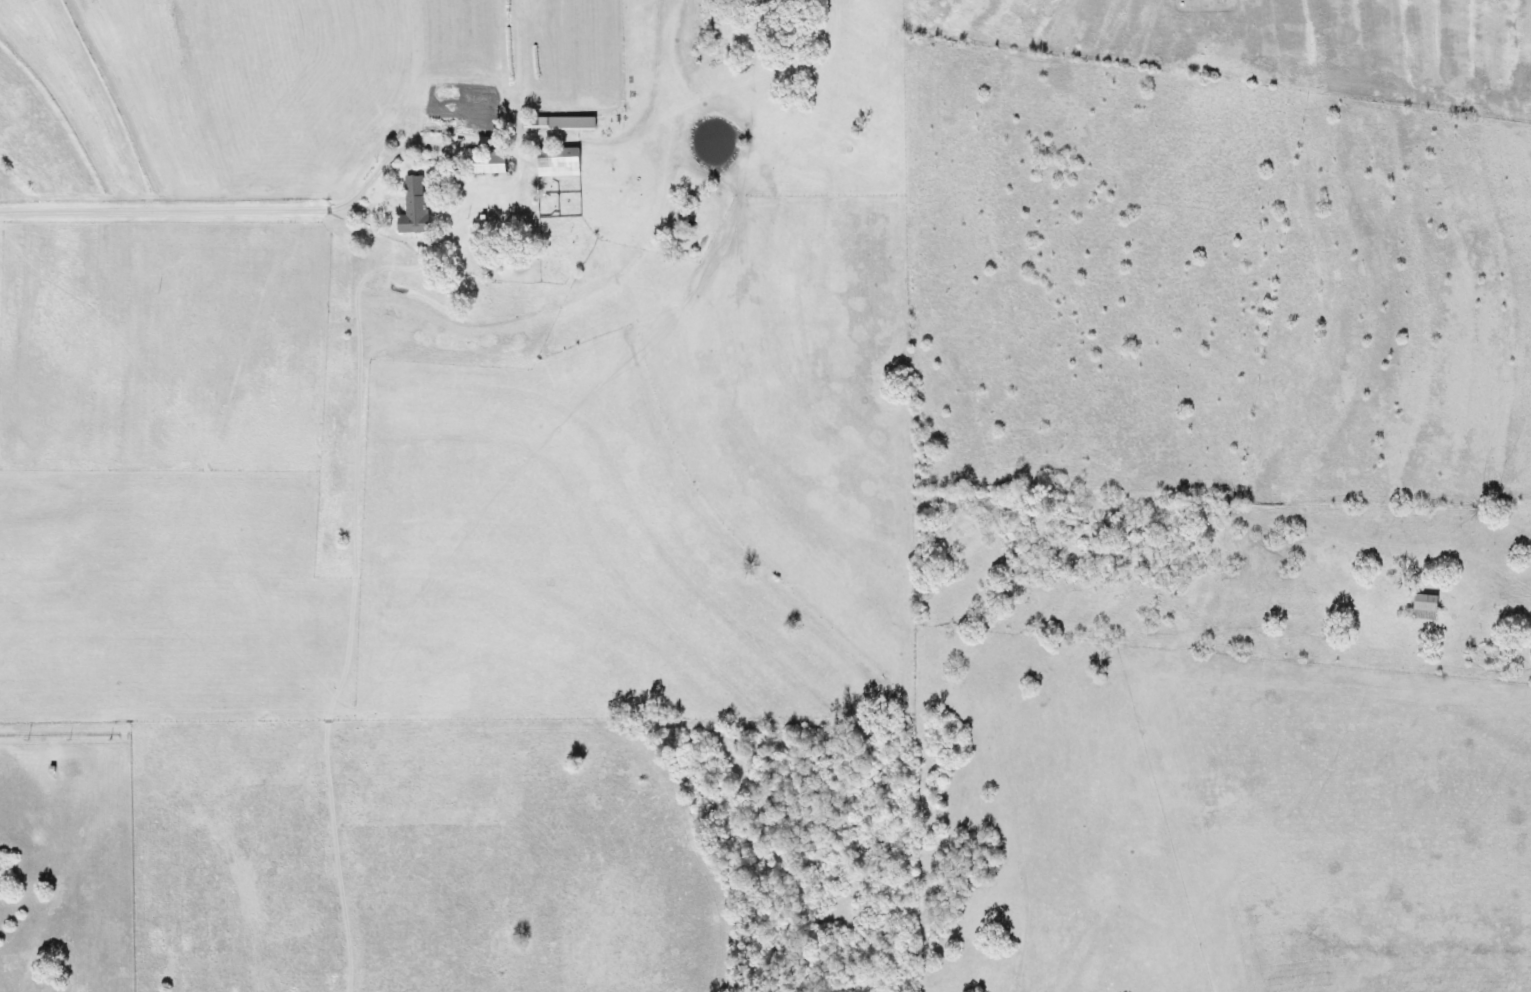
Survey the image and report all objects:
building: (564, 123)
building: (563, 162)
building: (493, 164)
building: (419, 206)
road: (366, 305)
building: (1415, 608)

